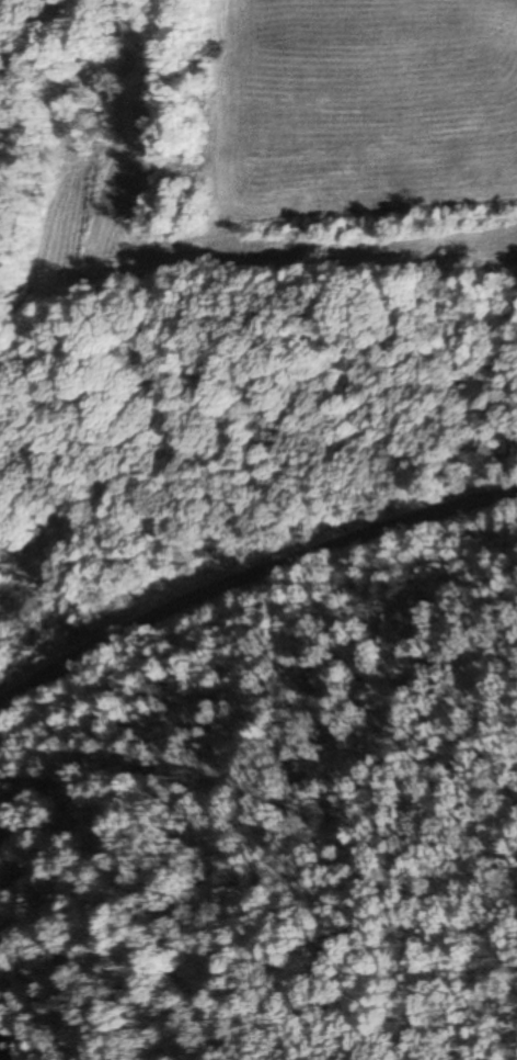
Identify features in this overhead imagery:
building: (2, 571)
road: (251, 599)
road: (4, 1041)

